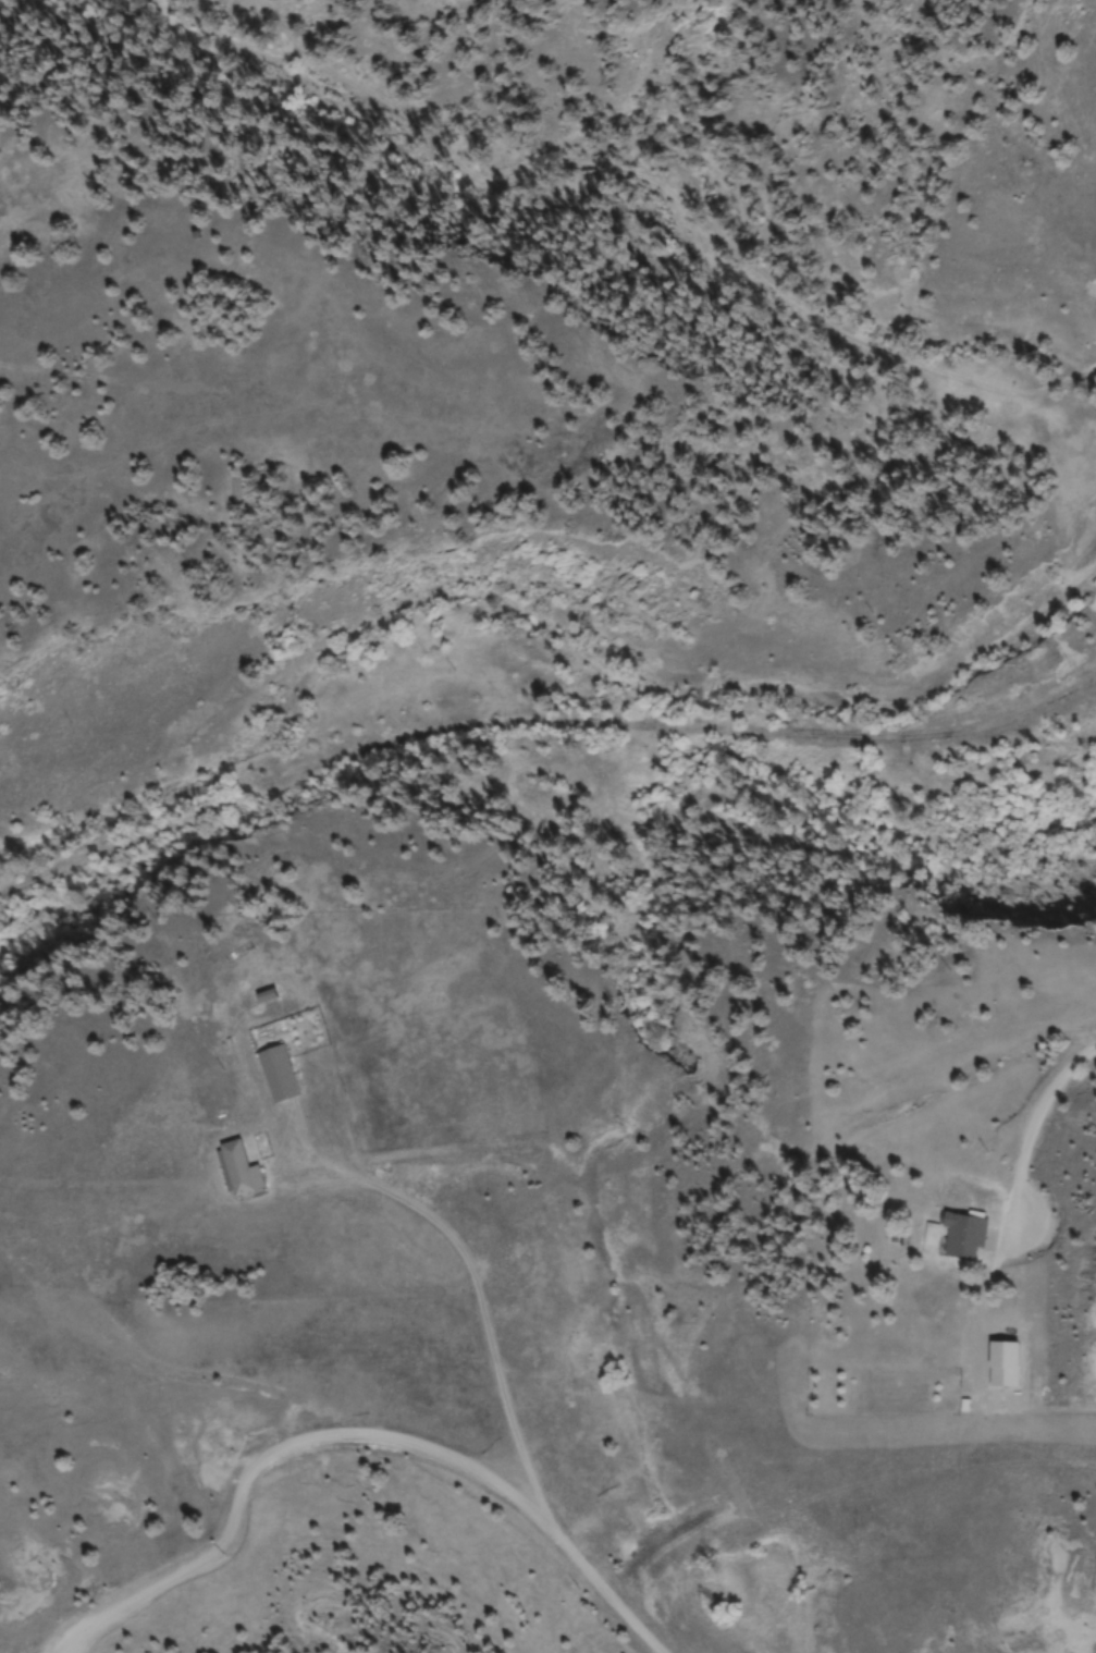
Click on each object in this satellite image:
building: (280, 1077)
road: (1061, 1079)
building: (241, 1172)
building: (966, 1238)
road: (496, 1371)

